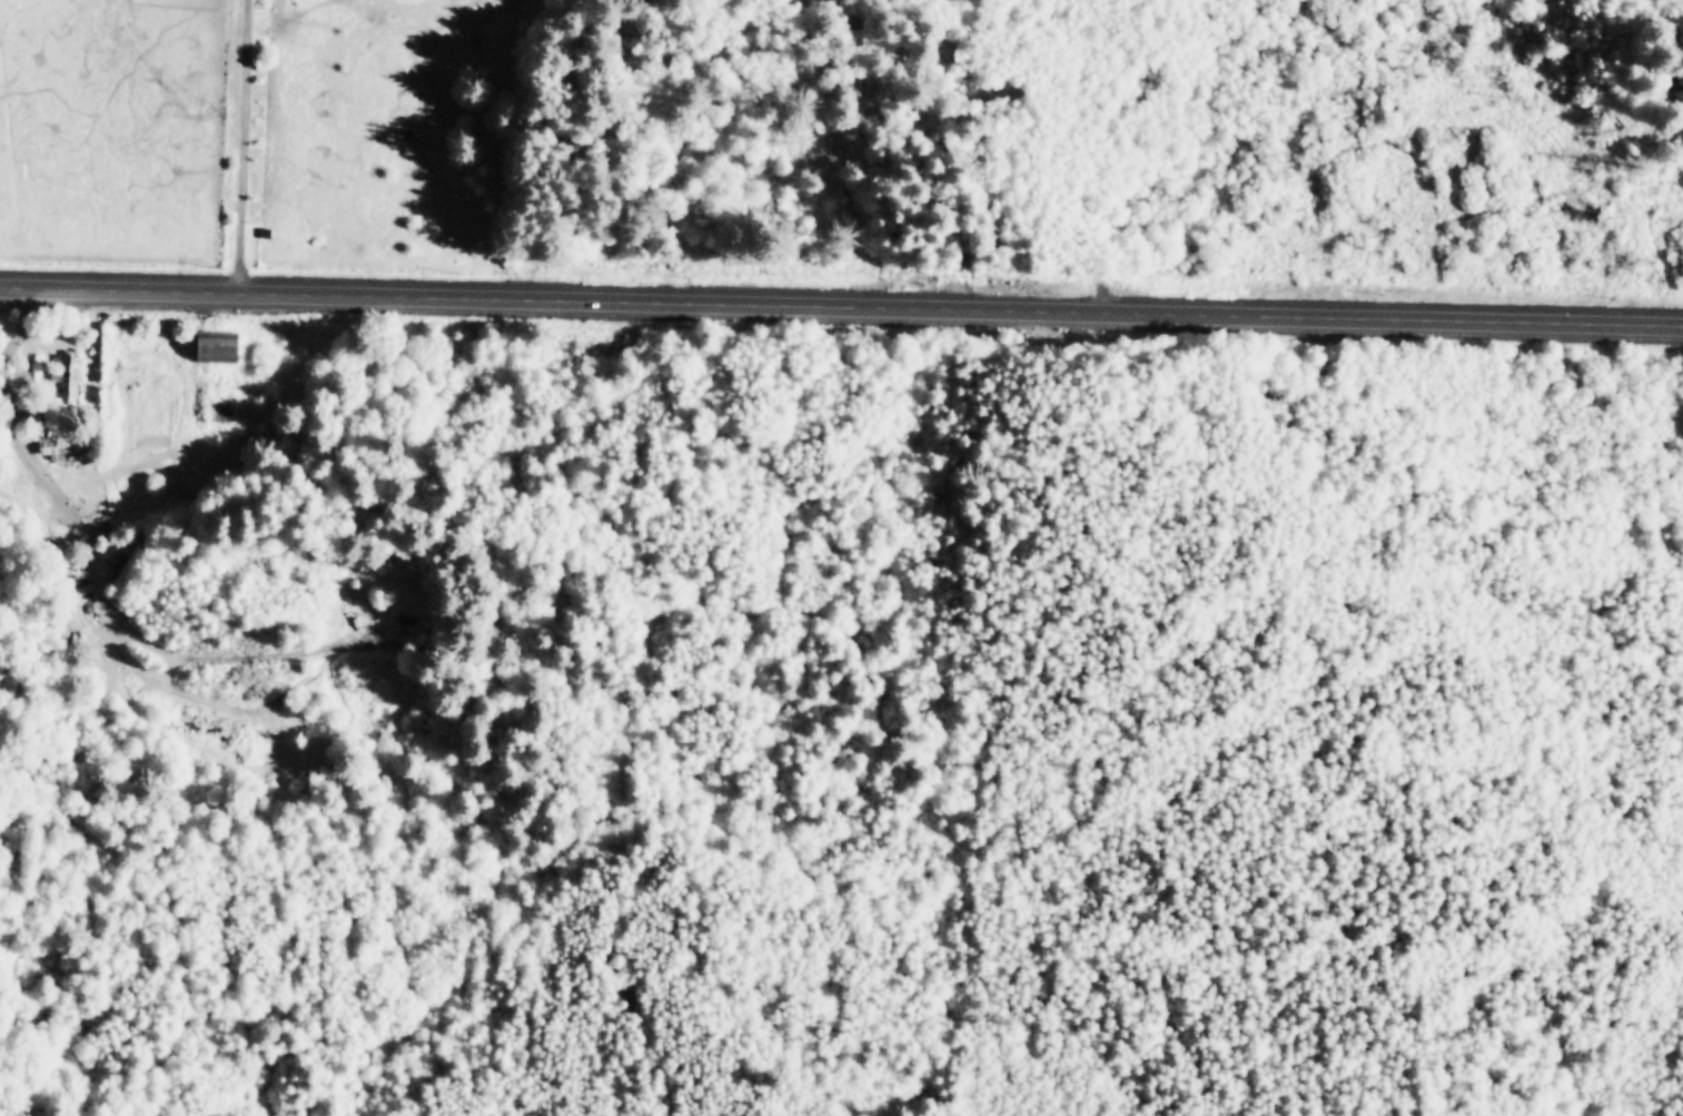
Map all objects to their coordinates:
road: (237, 142)
road: (841, 298)

